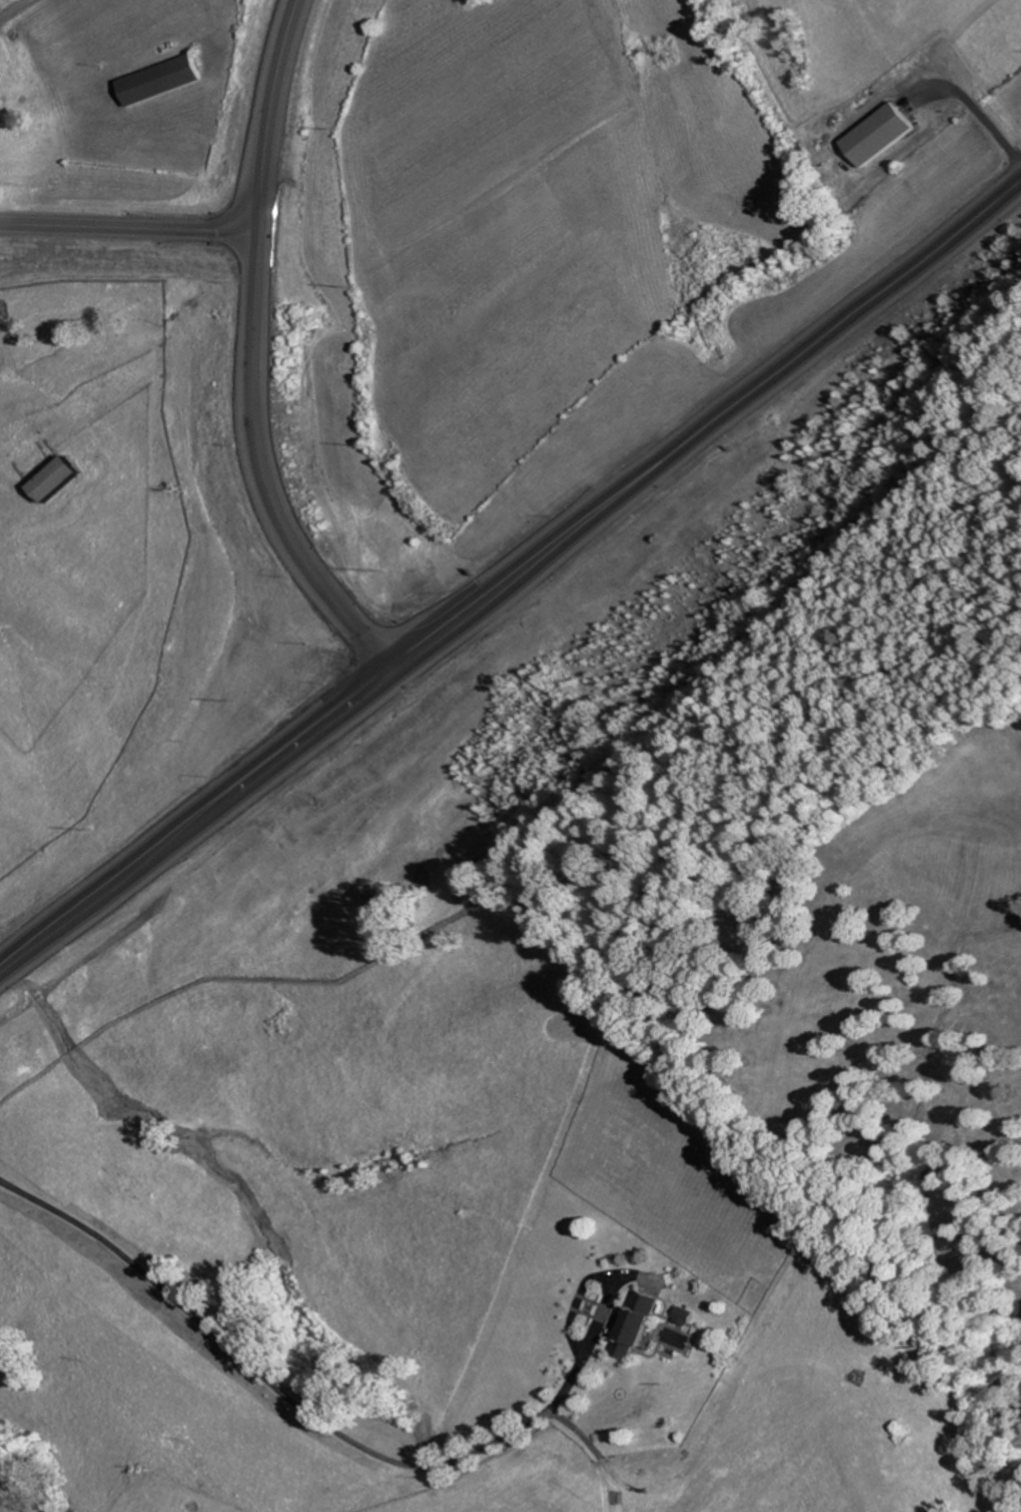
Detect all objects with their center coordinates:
road: (14, 9)
building: (161, 79)
road: (271, 114)
building: (879, 134)
road: (130, 227)
road: (822, 332)
building: (18, 432)
road: (265, 467)
building: (55, 478)
road: (311, 727)
building: (633, 1324)

